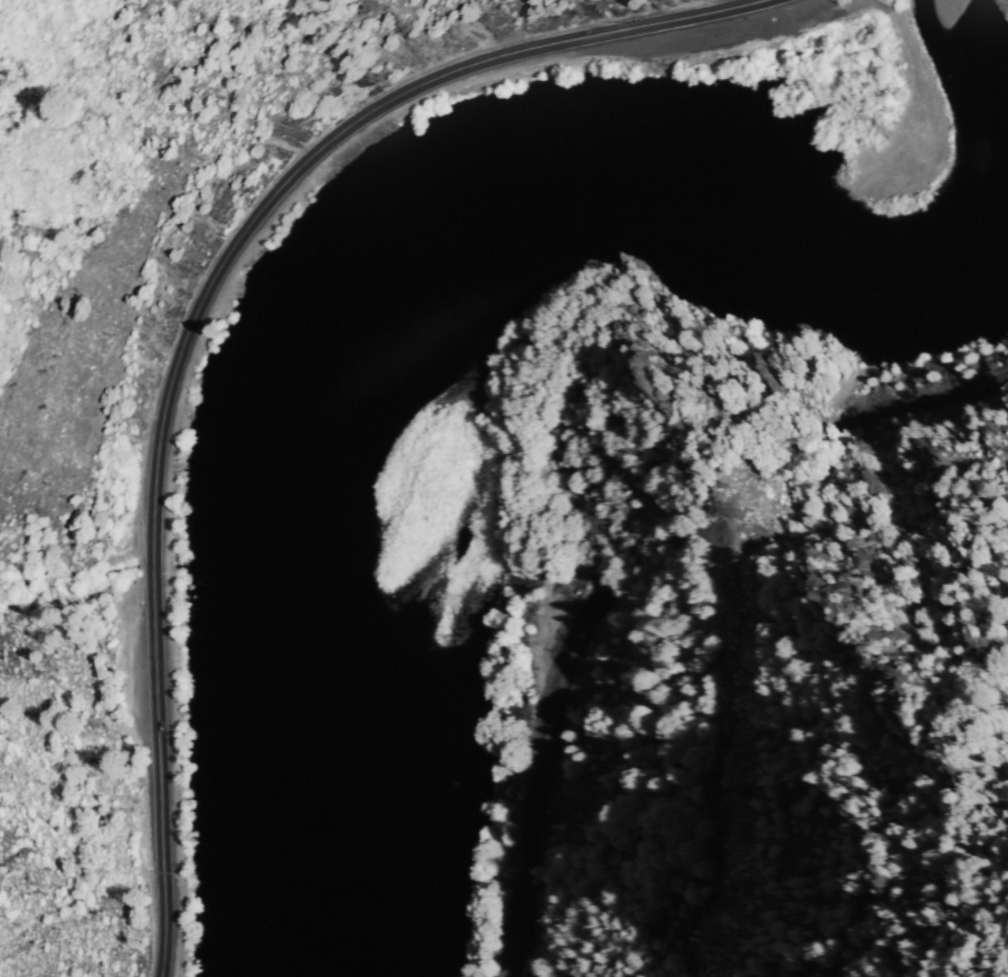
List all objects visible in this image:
parking lot: (1006, 3)
parking lot: (916, 104)
river: (715, 207)
road: (197, 307)
railway: (920, 403)
river: (291, 428)
power tower: (738, 514)
railway: (540, 776)
river: (297, 820)

